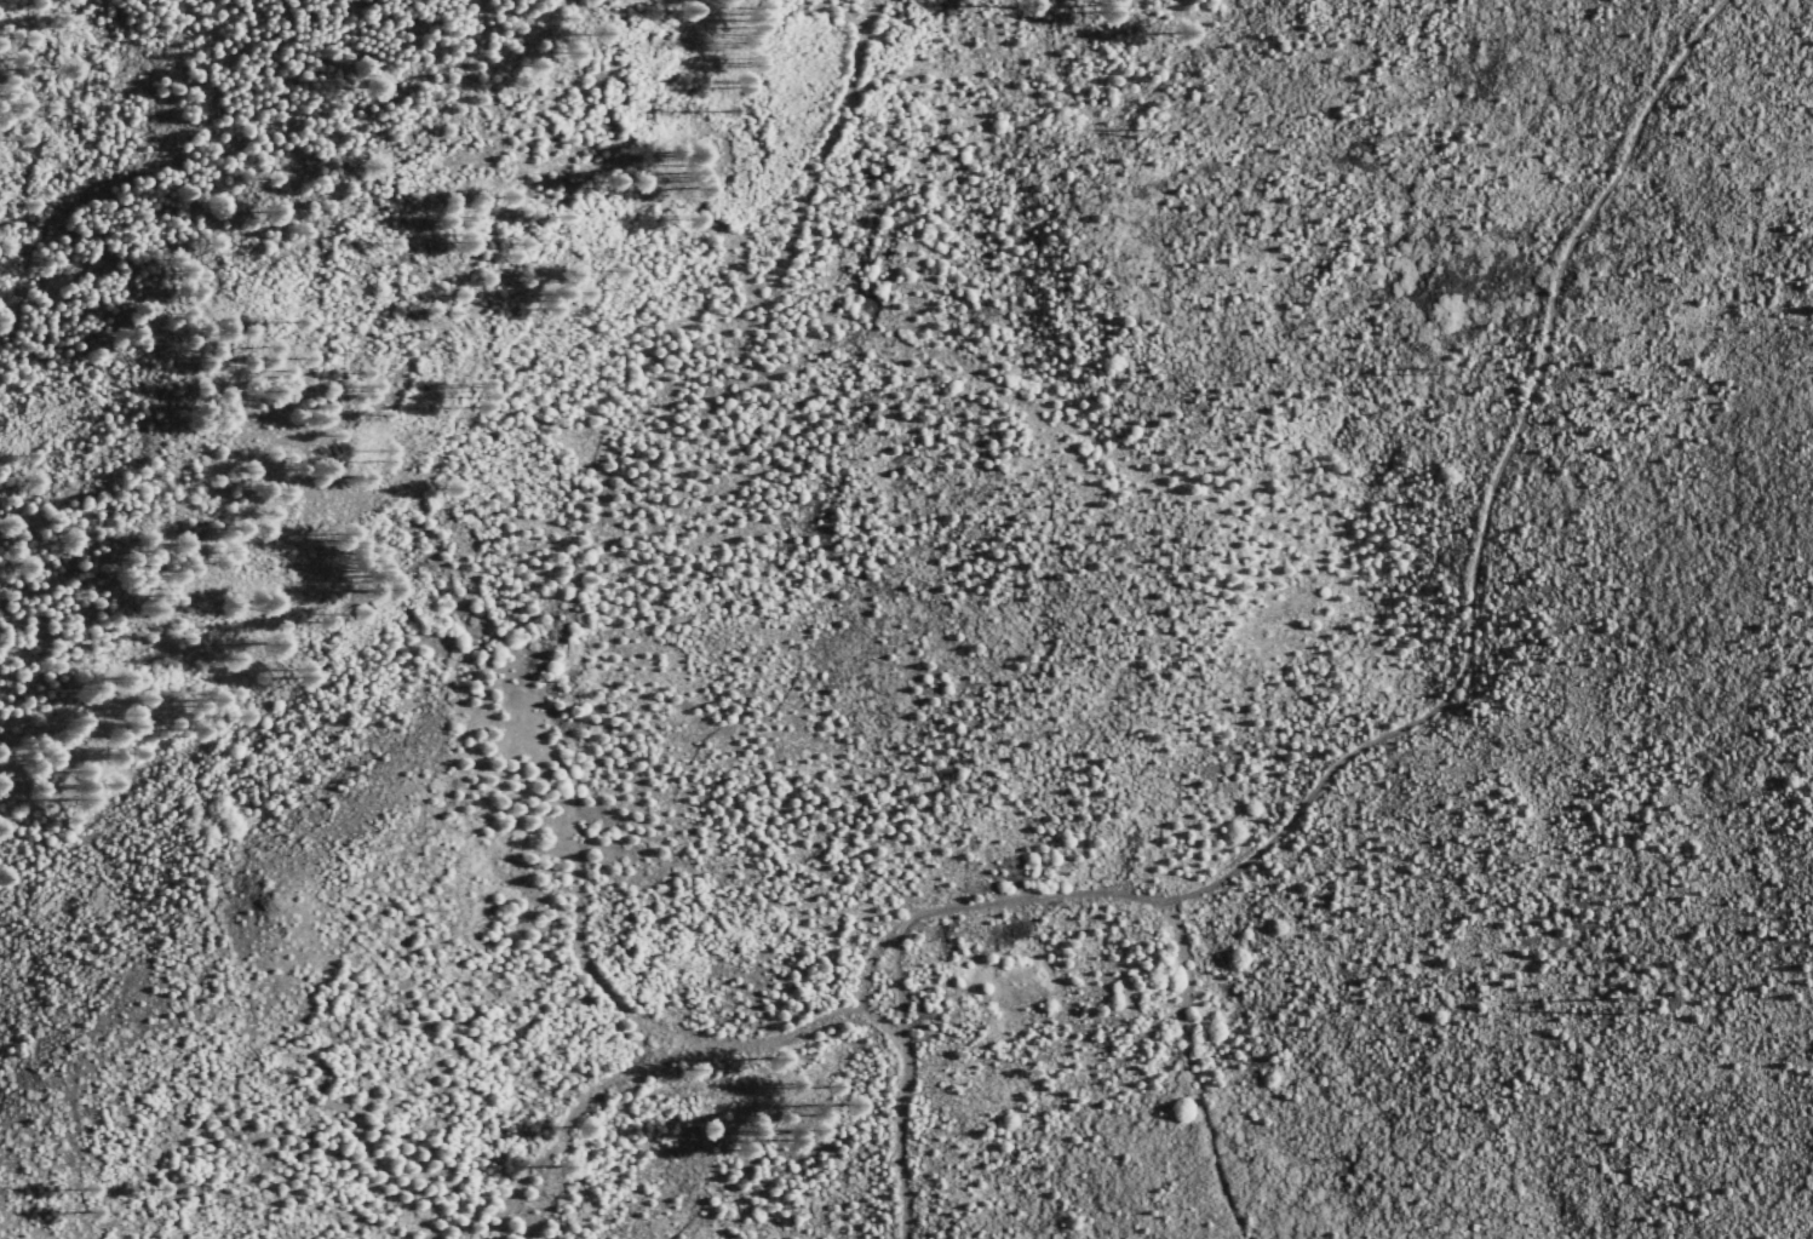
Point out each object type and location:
power tower: (1436, 371)
power tower: (1197, 732)
road: (1388, 748)

